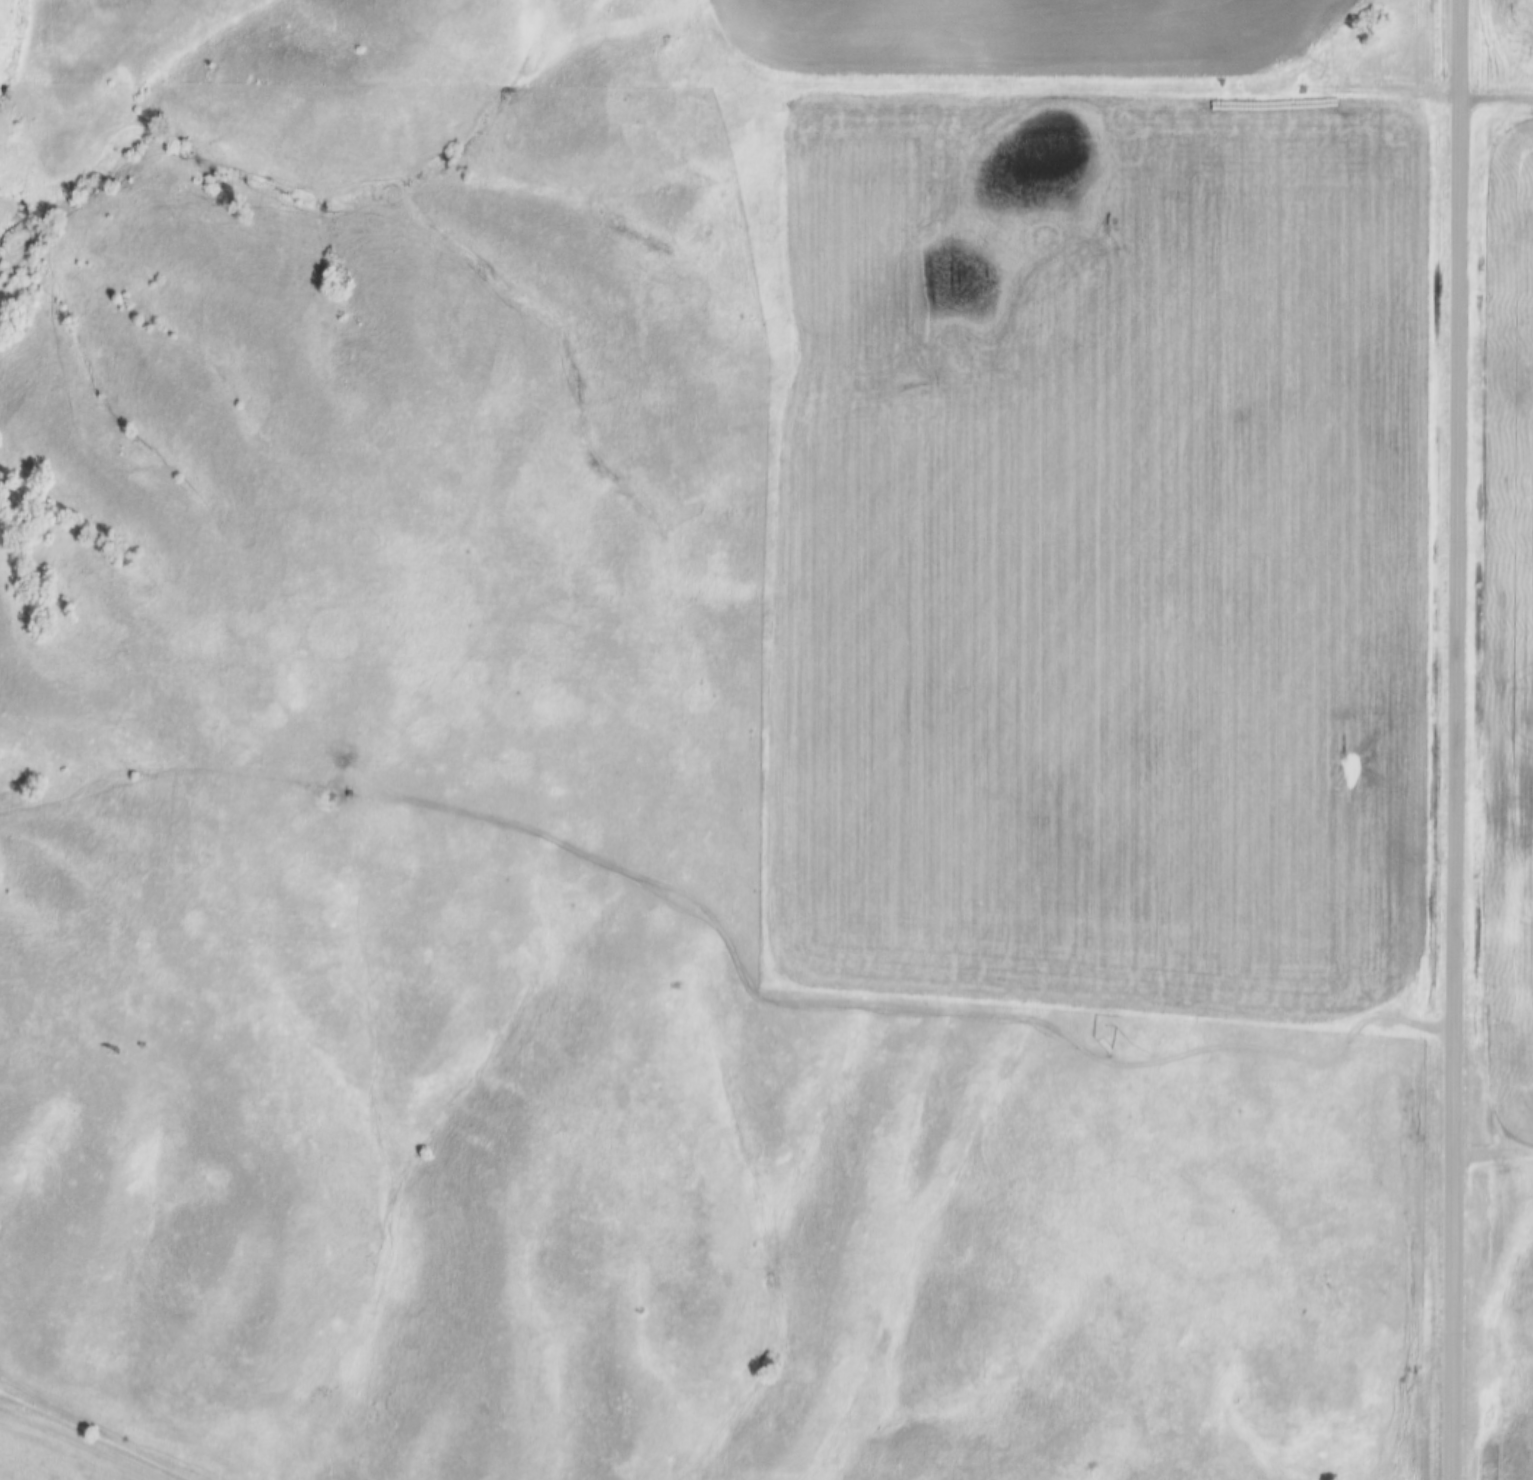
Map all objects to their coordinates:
road: (1495, 94)
road: (1454, 739)

